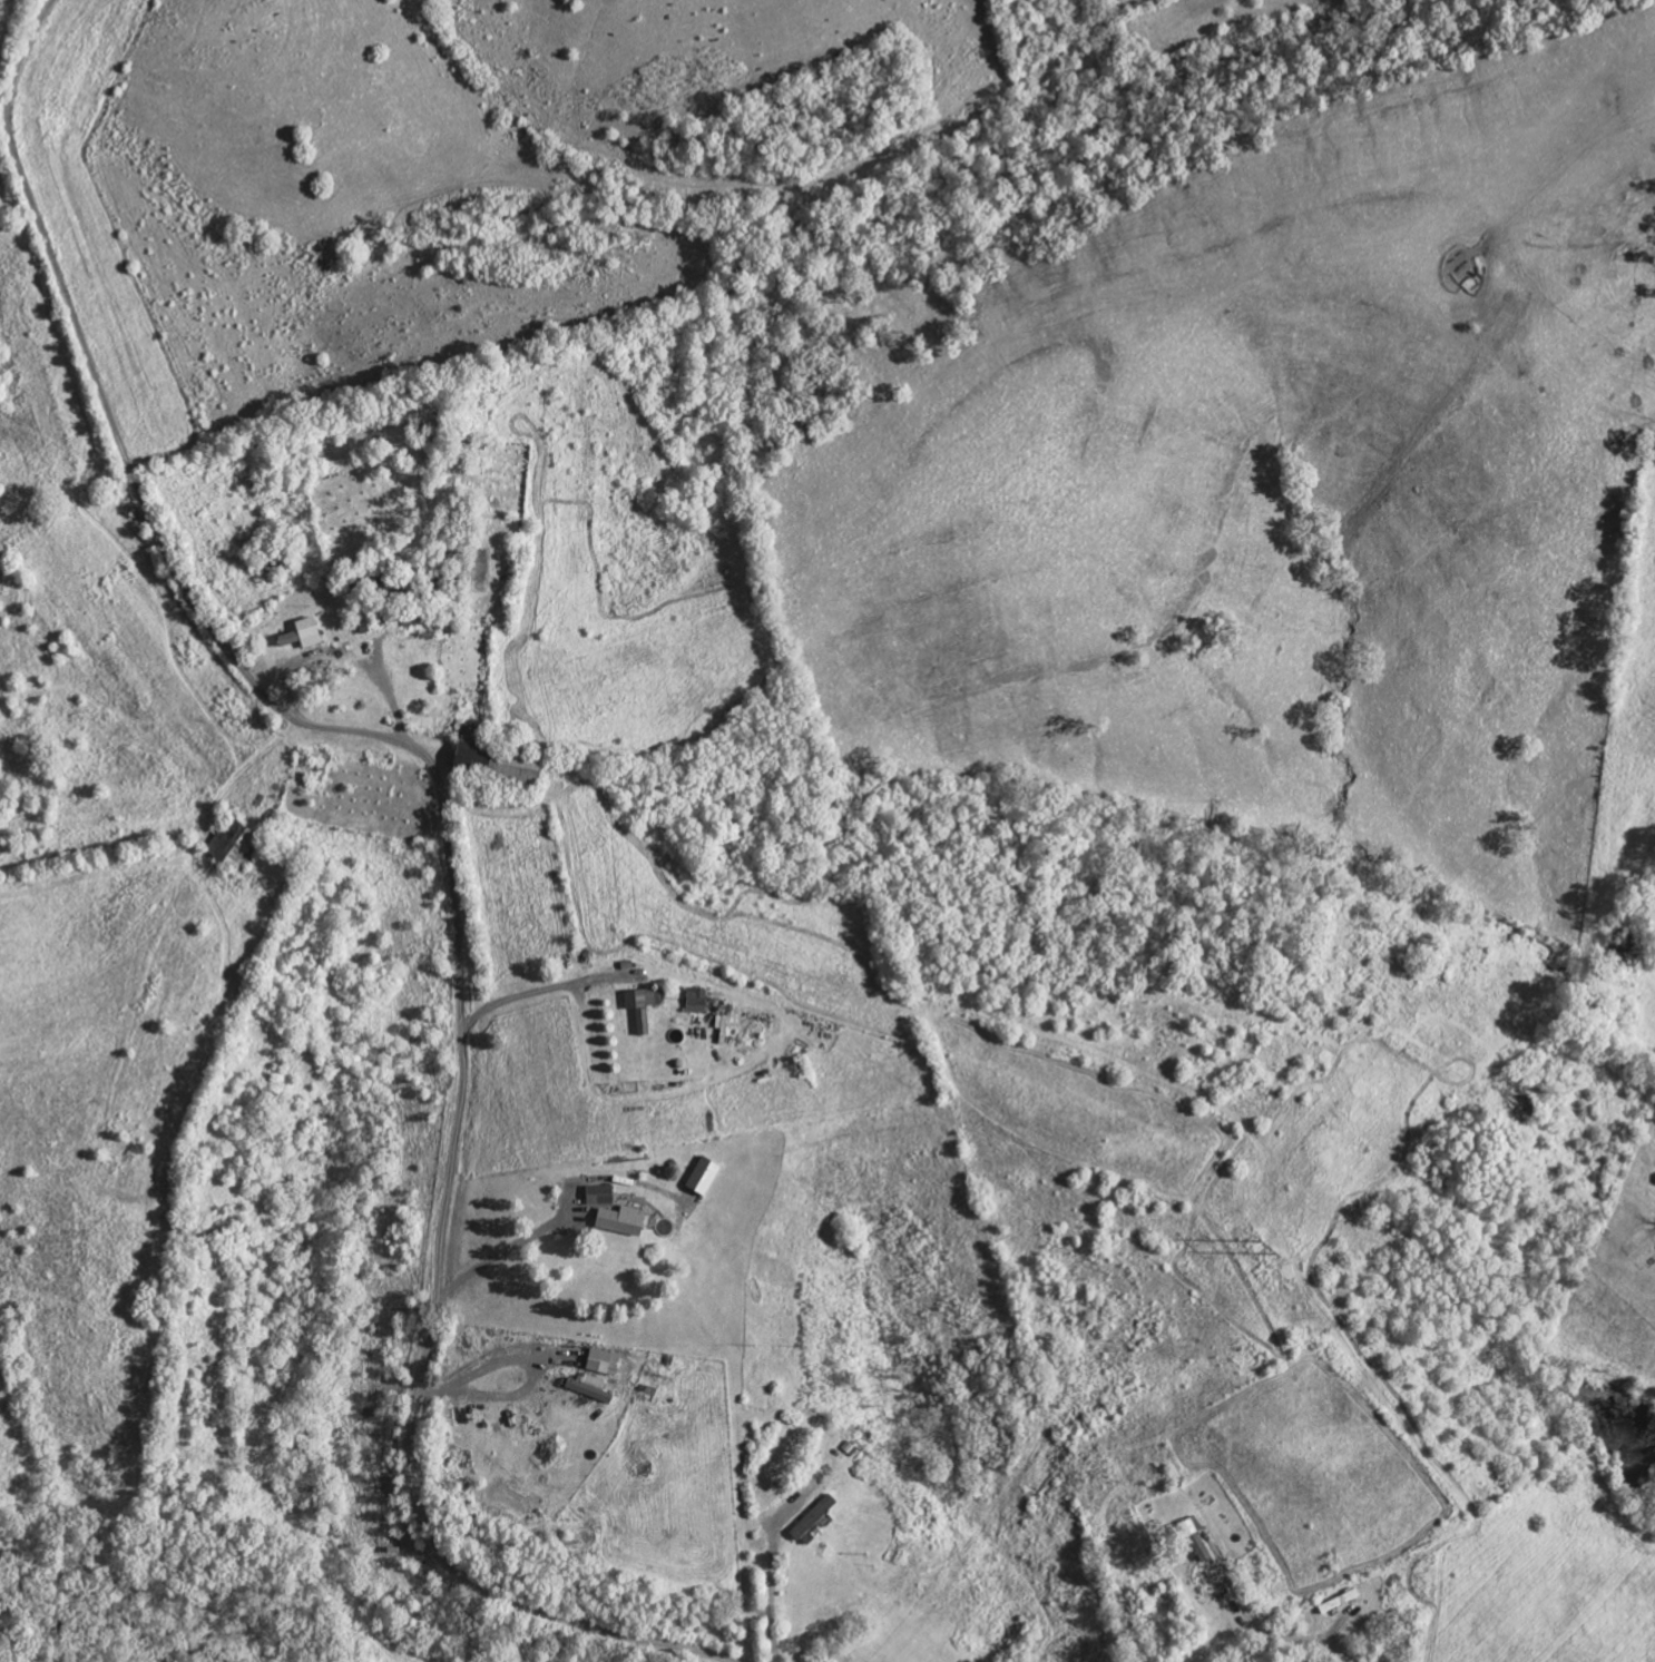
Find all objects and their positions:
building: (306, 635)
building: (501, 761)
road: (448, 845)
building: (699, 1002)
building: (645, 1007)
building: (708, 1177)
building: (604, 1196)
building: (625, 1221)
power tower: (1272, 1250)
building: (601, 1363)
building: (591, 1390)
road: (1603, 1472)
road: (1558, 1506)
building: (816, 1520)
road: (1266, 1636)

